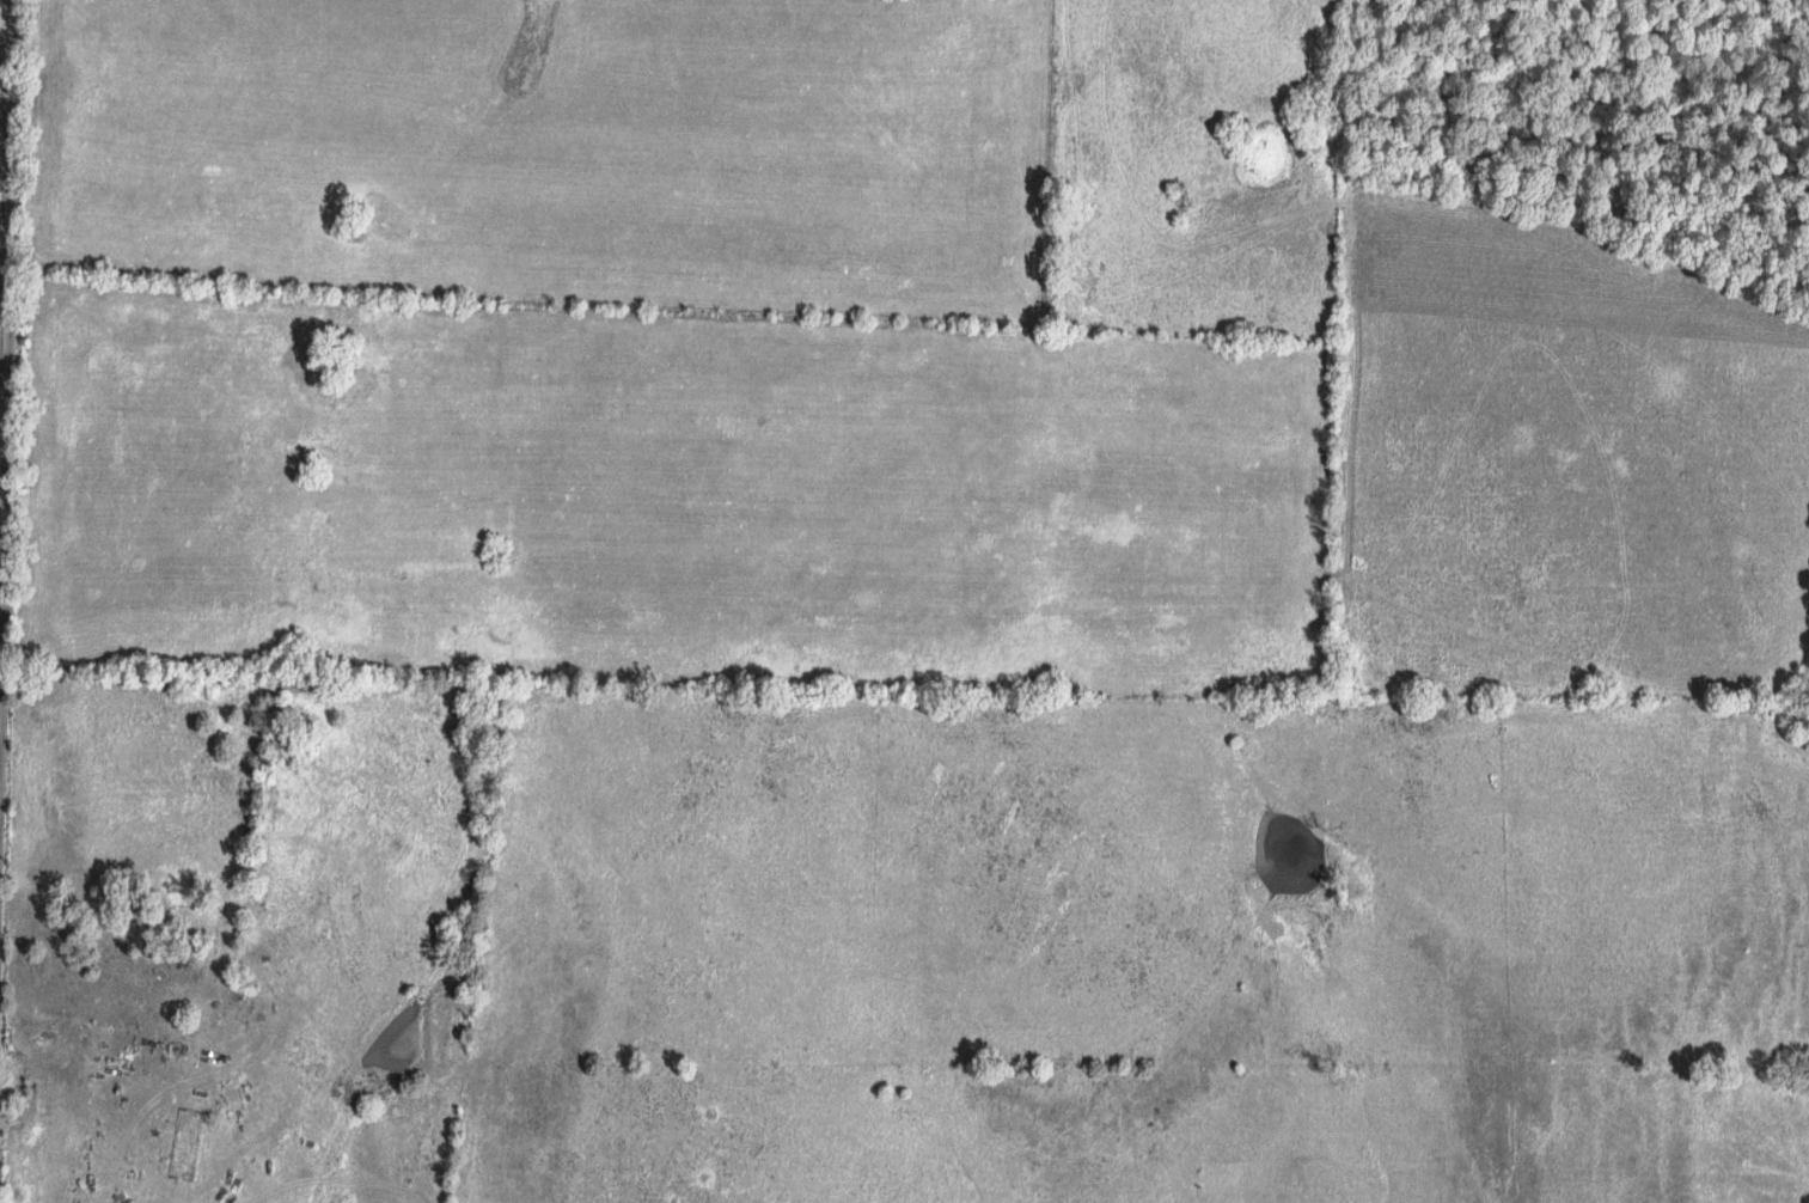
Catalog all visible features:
road: (8, 258)
road: (326, 1180)

